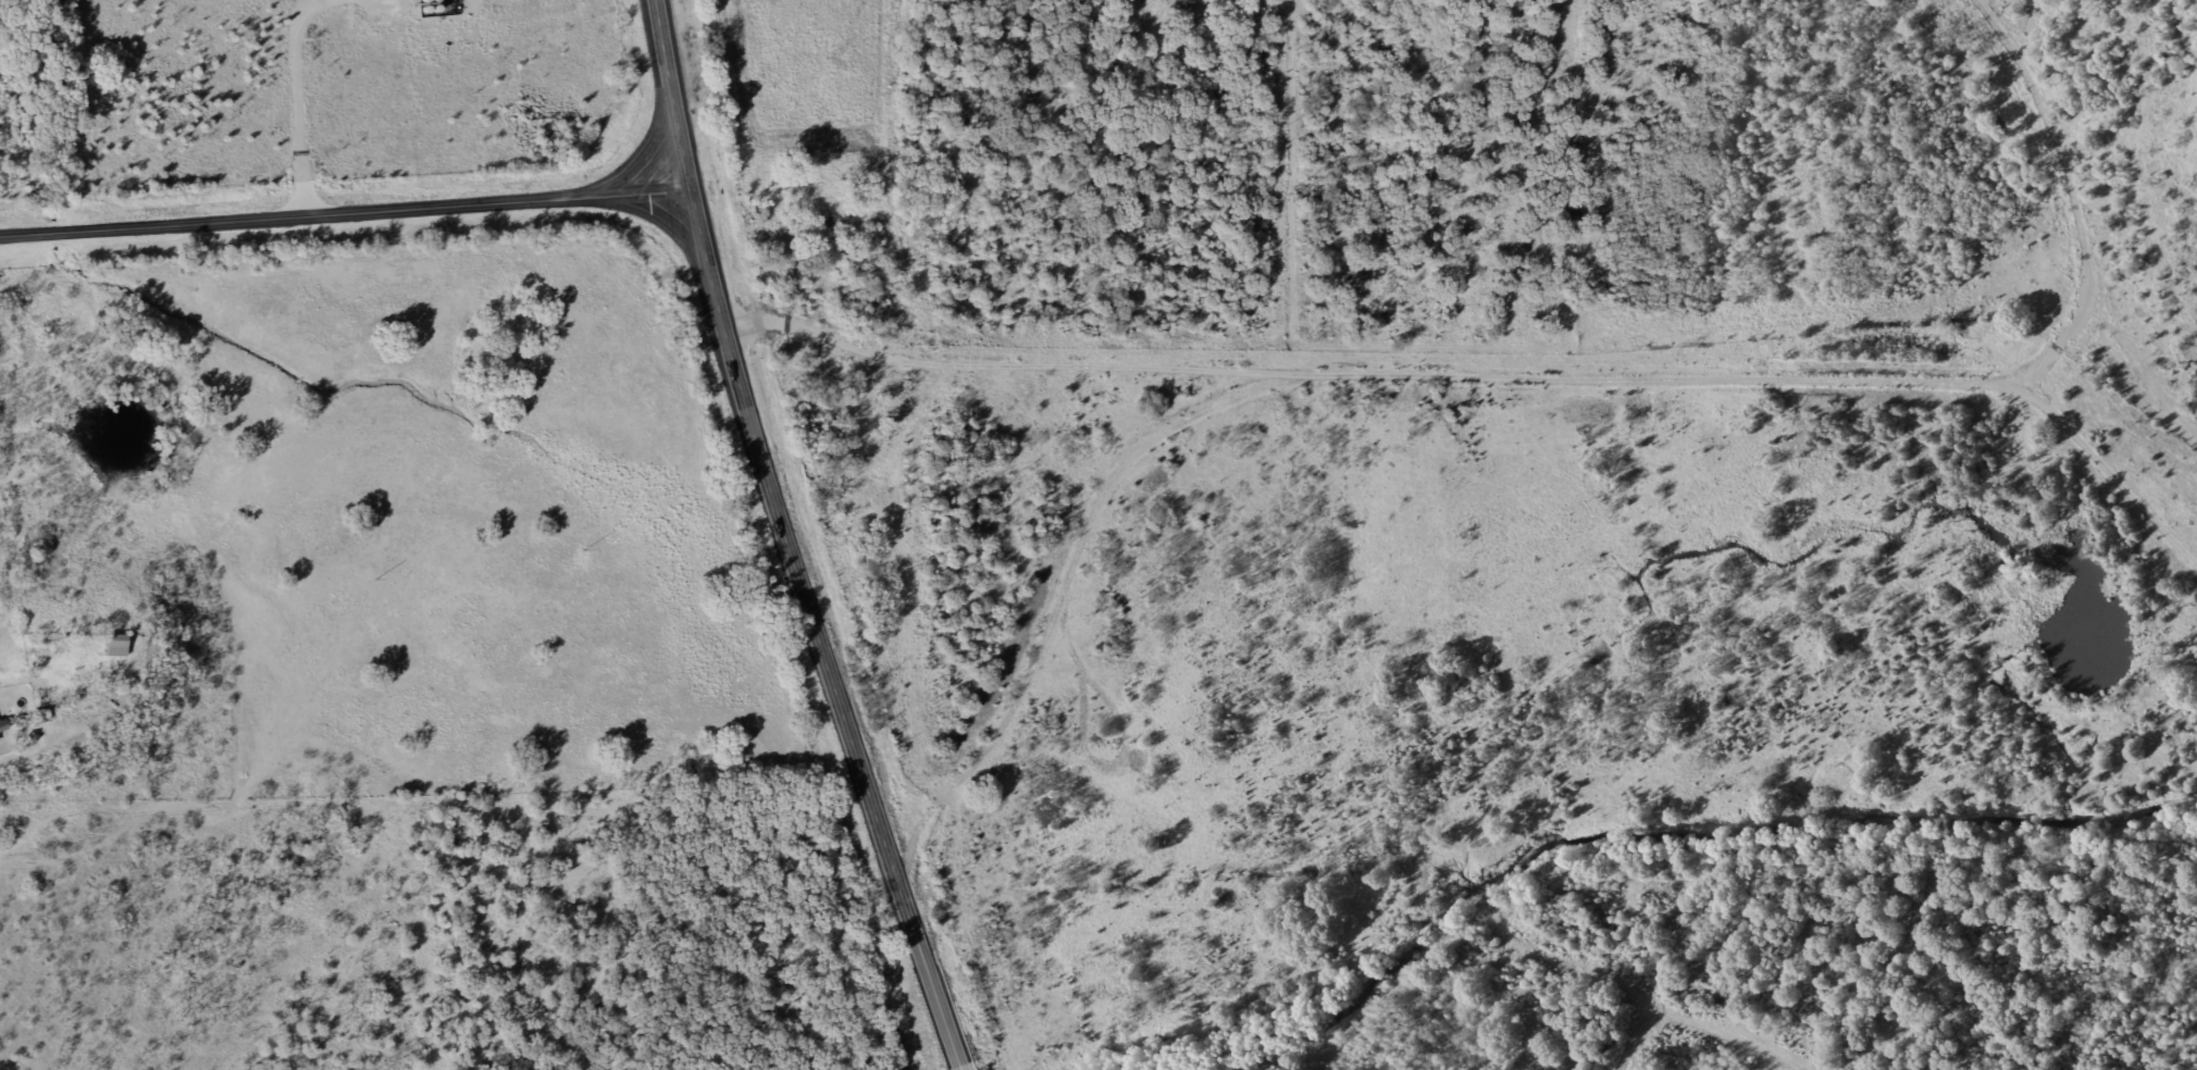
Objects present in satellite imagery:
road: (339, 212)
road: (779, 540)
road: (1497, 542)
building: (116, 645)
building: (48, 713)
building: (3, 727)

